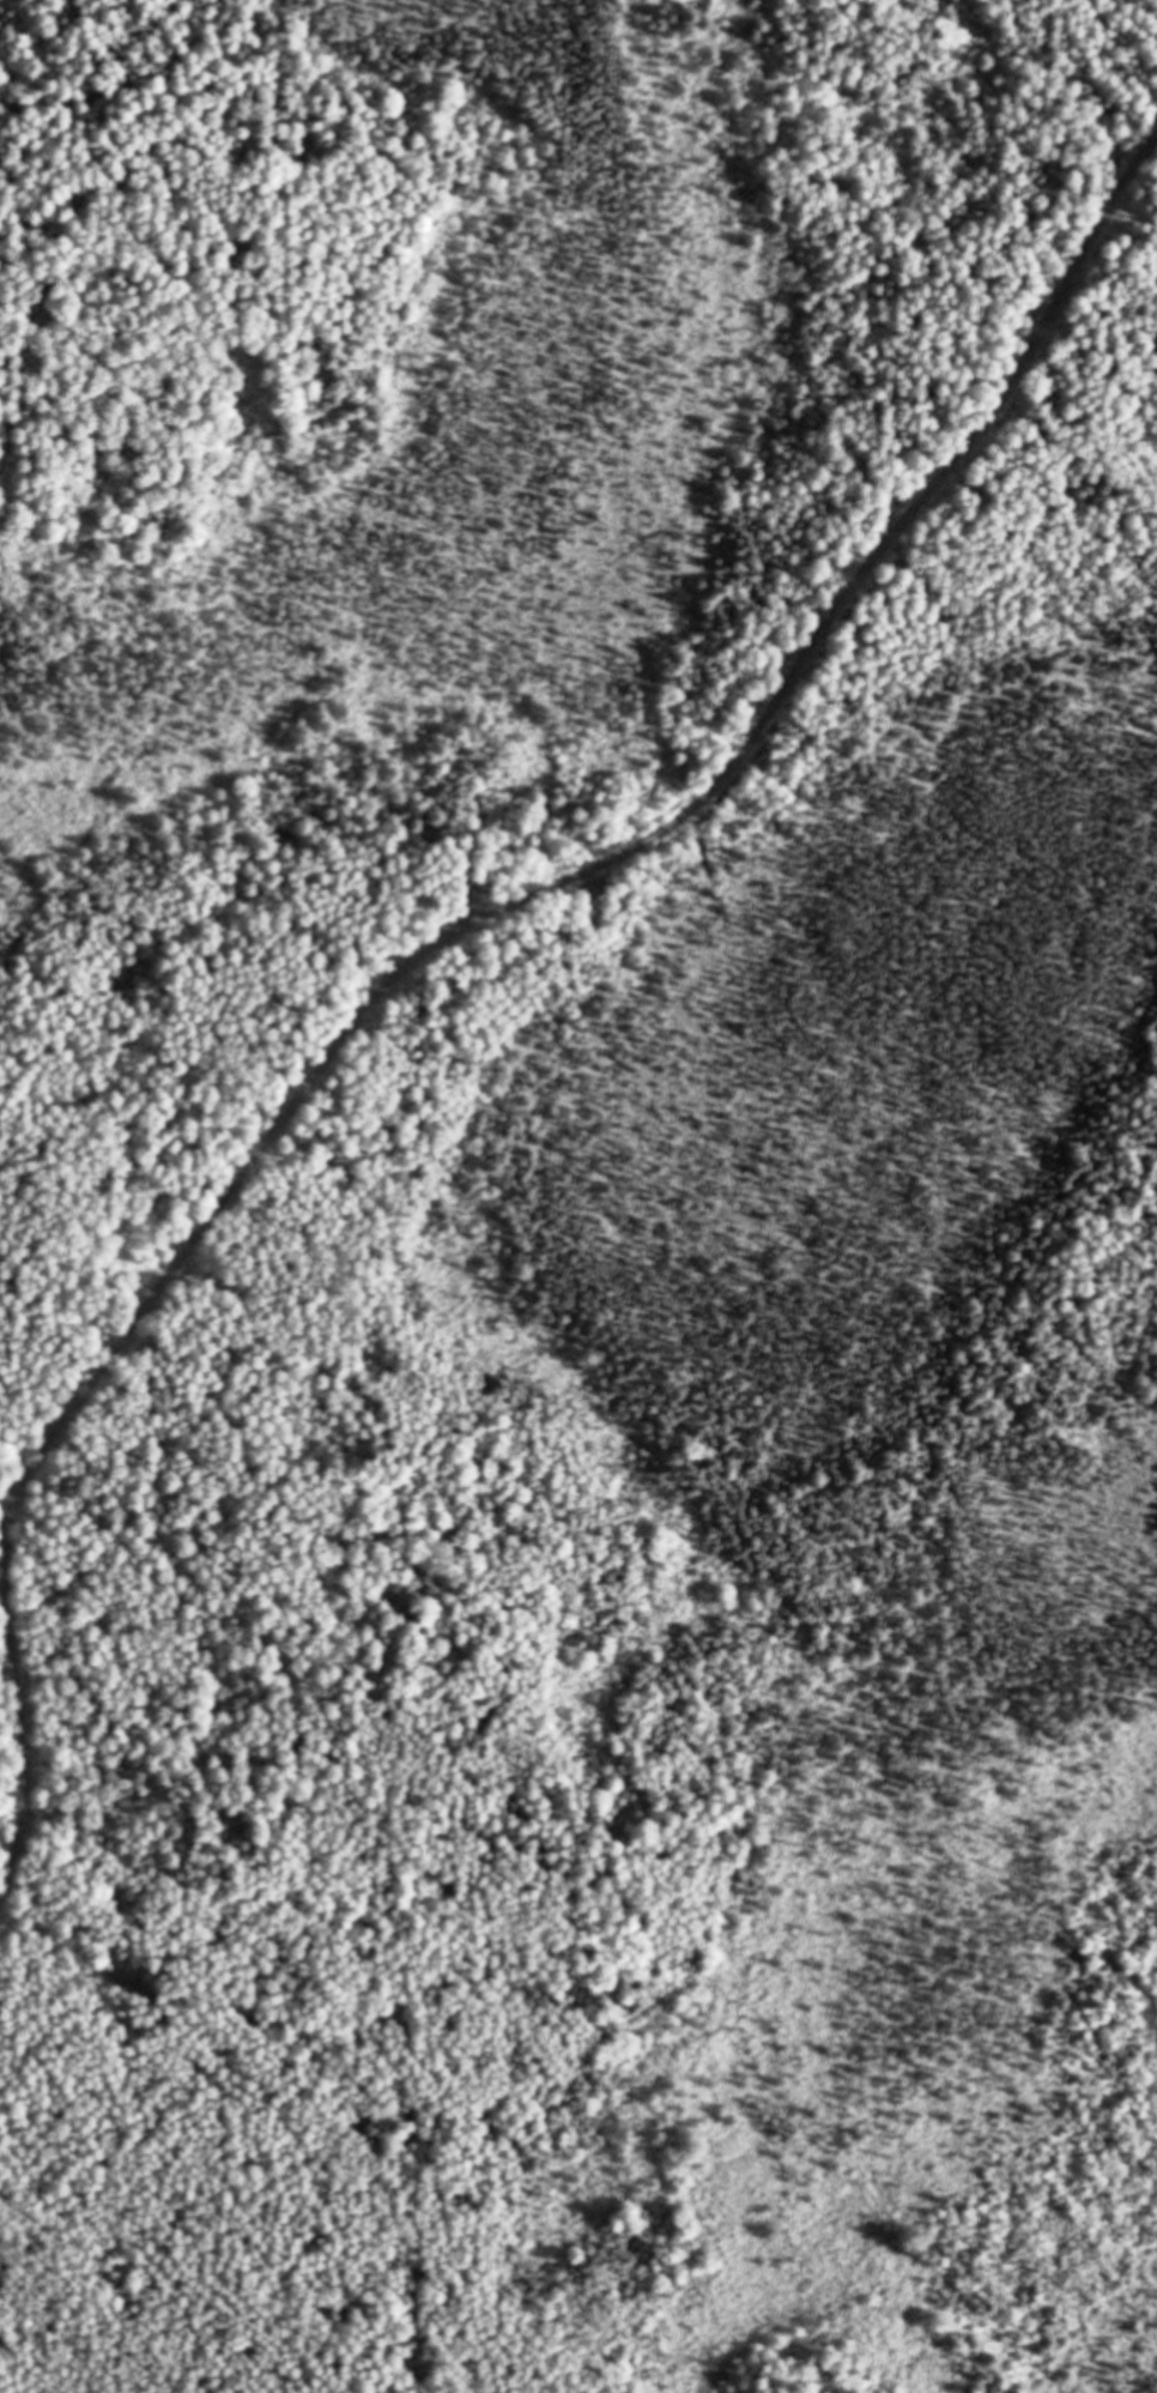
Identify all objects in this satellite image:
road: (605, 860)
road: (11, 1728)

